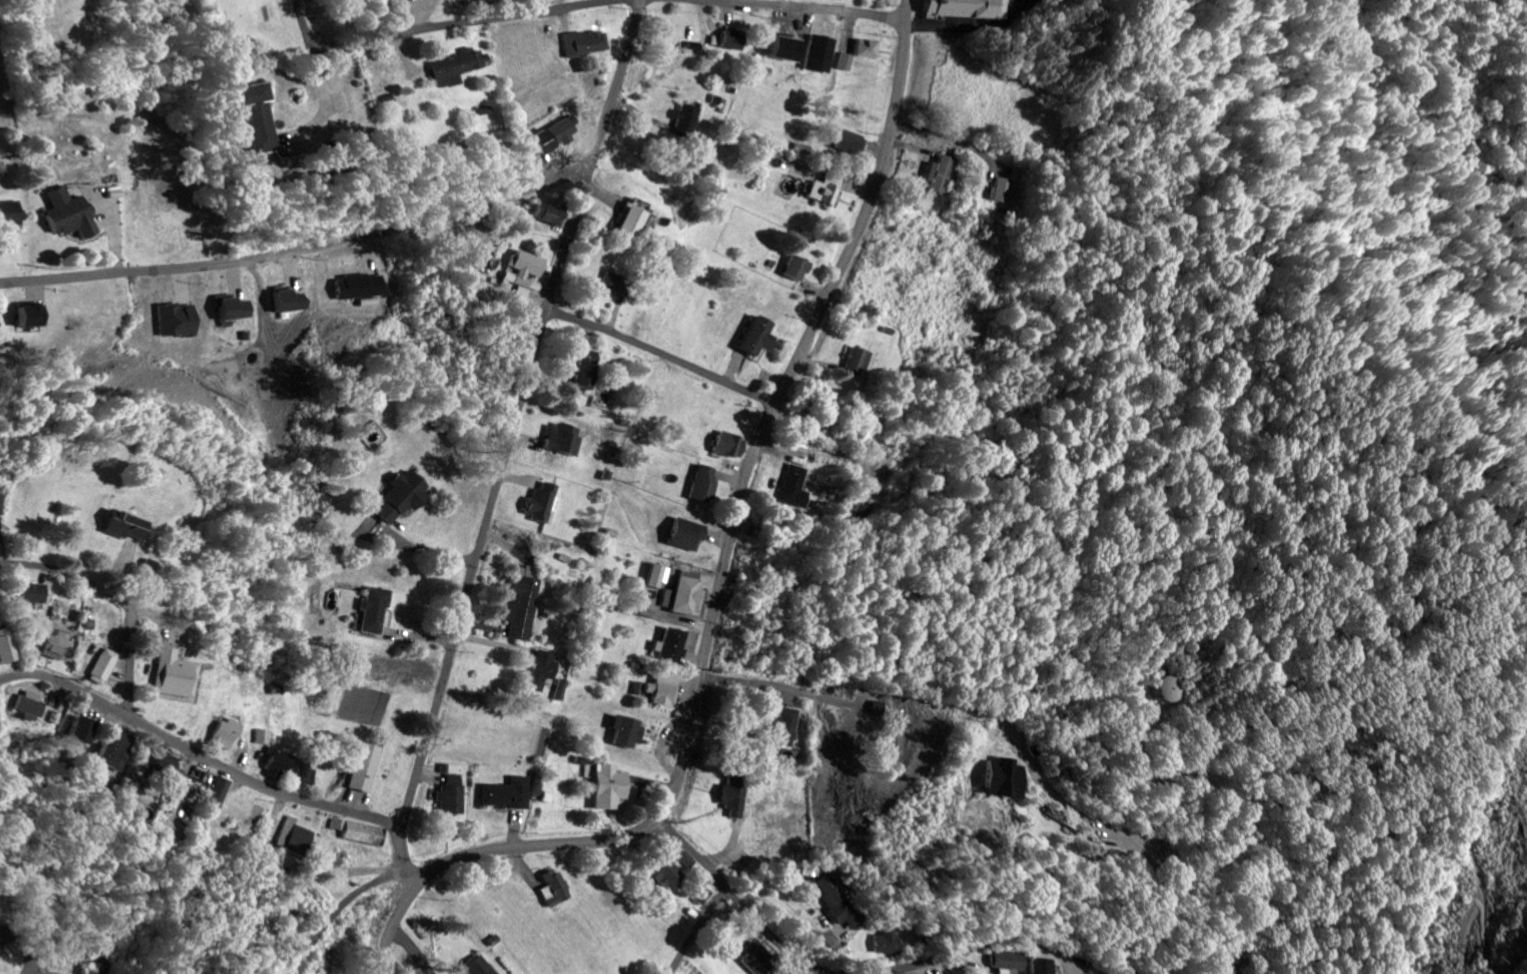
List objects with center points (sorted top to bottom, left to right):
building: (461, 0)
road: (806, 8)
building: (970, 9)
road: (449, 26)
building: (733, 40)
building: (584, 44)
building: (872, 49)
building: (850, 62)
building: (457, 68)
building: (483, 114)
building: (256, 119)
building: (688, 119)
building: (559, 136)
building: (854, 143)
building: (941, 176)
building: (1001, 191)
building: (827, 193)
building: (11, 215)
building: (71, 215)
building: (552, 216)
building: (633, 223)
road: (297, 251)
building: (800, 270)
building: (528, 271)
building: (619, 285)
building: (364, 288)
building: (293, 303)
building: (237, 310)
building: (33, 318)
building: (181, 322)
building: (761, 338)
road: (631, 339)
building: (857, 363)
building: (588, 377)
road: (519, 417)
building: (567, 440)
building: (732, 446)
building: (704, 485)
building: (796, 489)
building: (405, 496)
building: (547, 501)
building: (1, 505)
building: (127, 525)
building: (689, 535)
road: (723, 572)
building: (659, 577)
building: (34, 593)
building: (686, 594)
road: (116, 598)
building: (526, 605)
building: (376, 611)
building: (58, 645)
building: (9, 646)
building: (675, 646)
building: (106, 667)
building: (544, 670)
building: (177, 675)
building: (1157, 689)
building: (564, 690)
building: (665, 690)
building: (33, 704)
building: (787, 727)
building: (85, 730)
building: (630, 731)
building: (227, 734)
building: (264, 736)
building: (117, 751)
road: (201, 755)
building: (170, 763)
building: (280, 764)
building: (368, 767)
building: (309, 774)
building: (1008, 778)
building: (613, 787)
building: (221, 792)
building: (511, 794)
building: (737, 795)
building: (455, 796)
building: (362, 832)
building: (299, 838)
building: (689, 860)
road: (408, 863)
building: (670, 874)
building: (557, 889)
road: (739, 902)
building: (836, 903)
road: (343, 909)
road: (699, 930)
road: (1013, 932)
building: (3, 938)
building: (883, 943)
road: (412, 951)
building: (759, 959)
building: (1008, 962)
building: (1042, 966)
building: (480, 967)
building: (777, 973)

